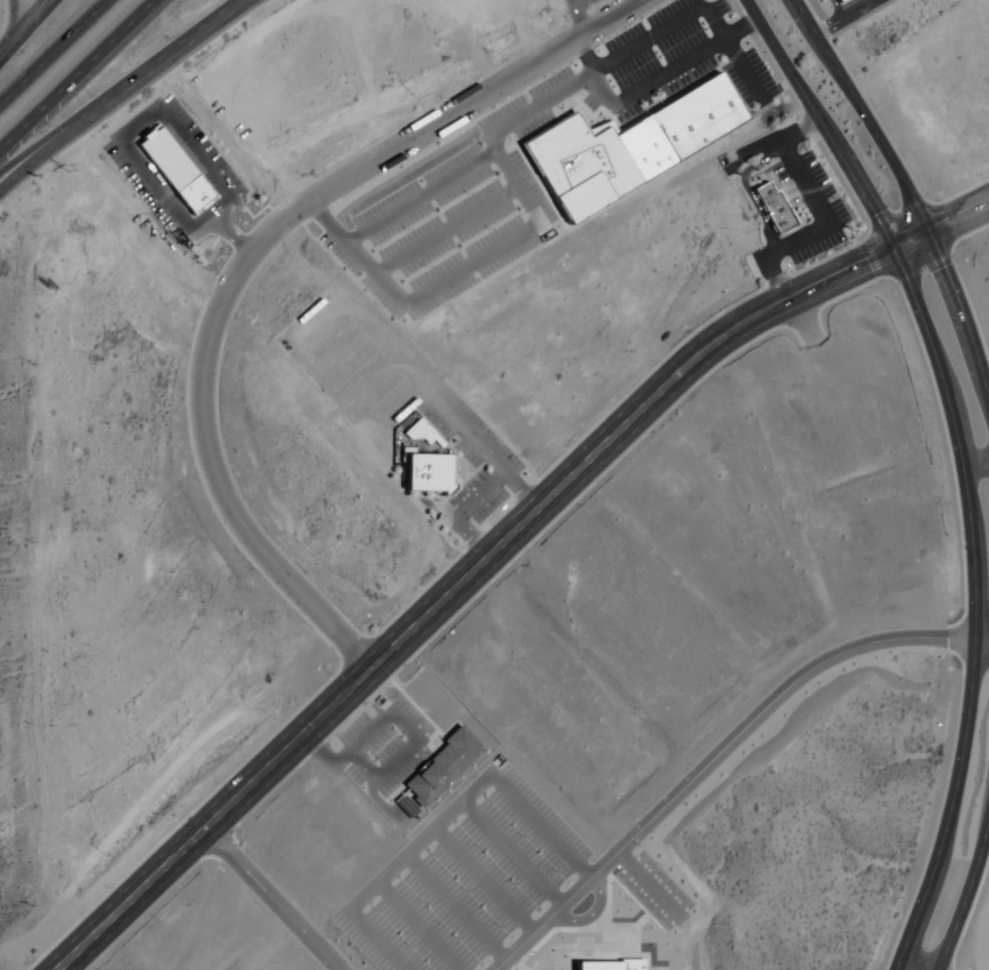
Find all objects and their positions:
road: (576, 12)
road: (11, 20)
road: (23, 25)
road: (740, 30)
road: (50, 48)
road: (581, 56)
road: (75, 72)
road: (648, 85)
road: (116, 89)
road: (153, 109)
road: (484, 137)
road: (38, 145)
road: (770, 145)
building: (629, 148)
power tower: (58, 166)
building: (175, 171)
parking lot: (463, 186)
road: (744, 188)
road: (907, 190)
road: (417, 195)
parking lot: (810, 205)
building: (773, 208)
road: (314, 210)
road: (824, 214)
road: (960, 216)
road: (442, 228)
road: (243, 257)
road: (771, 274)
parking lot: (390, 388)
road: (431, 398)
road: (962, 465)
building: (426, 473)
road: (481, 490)
road: (467, 533)
road: (470, 569)
road: (393, 718)
road: (723, 763)
building: (431, 777)
road: (528, 815)
road: (500, 843)
road: (470, 872)
parking lot: (466, 879)
road: (376, 886)
road: (654, 890)
road: (555, 893)
road: (968, 897)
road: (268, 898)
road: (459, 913)
road: (527, 923)
building: (605, 966)
road: (453, 968)
road: (456, 968)

